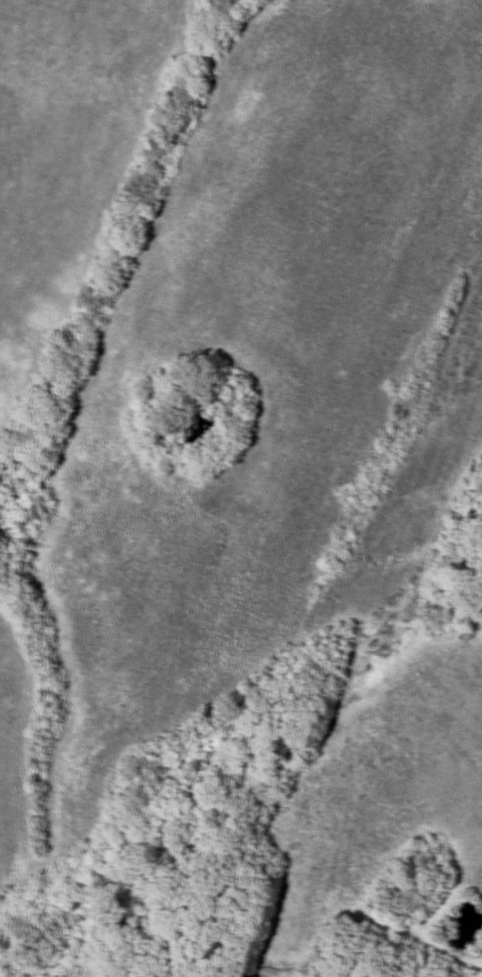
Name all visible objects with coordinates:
power tower: (384, 652)

